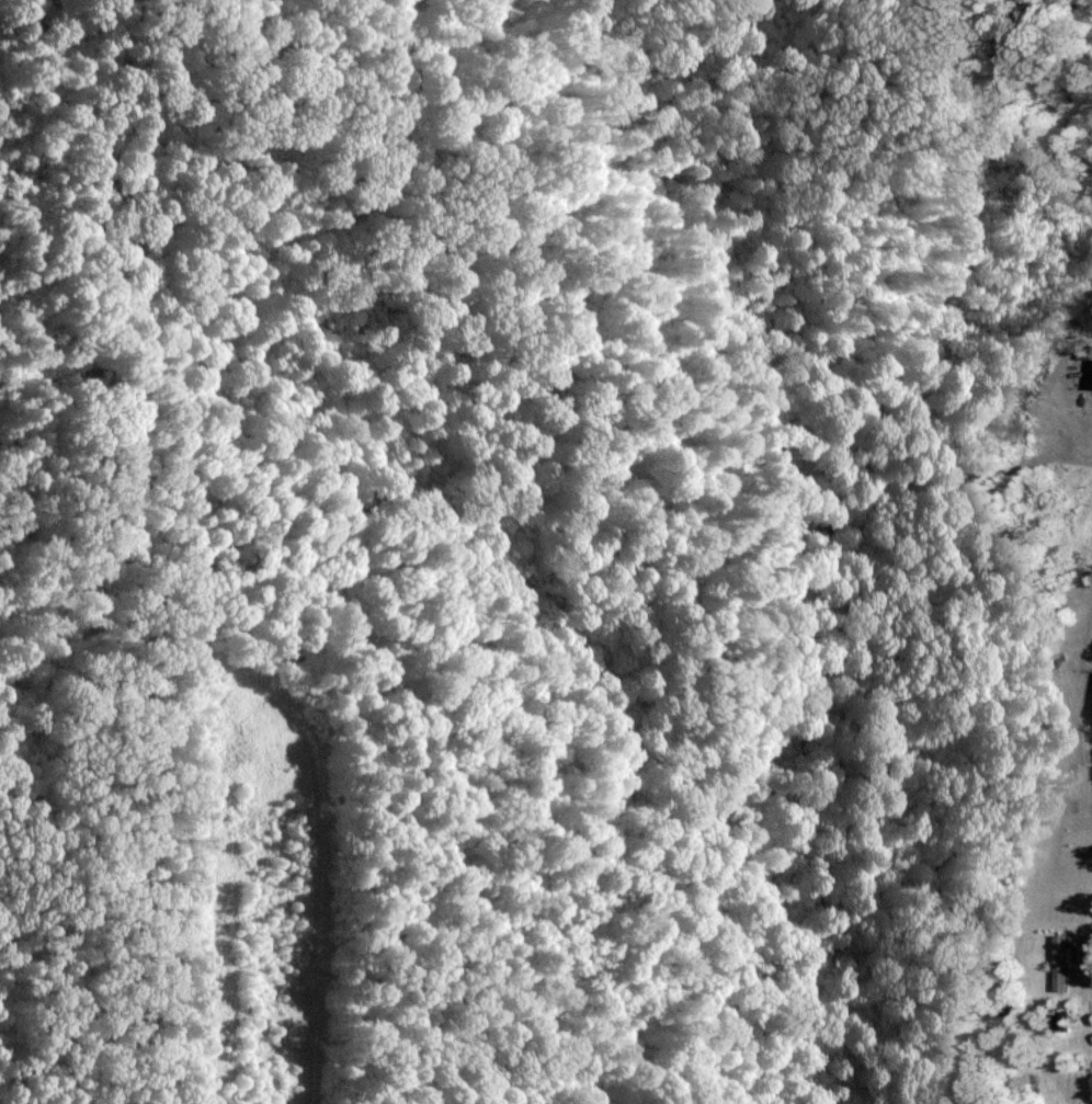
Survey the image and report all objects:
building: (1090, 709)

